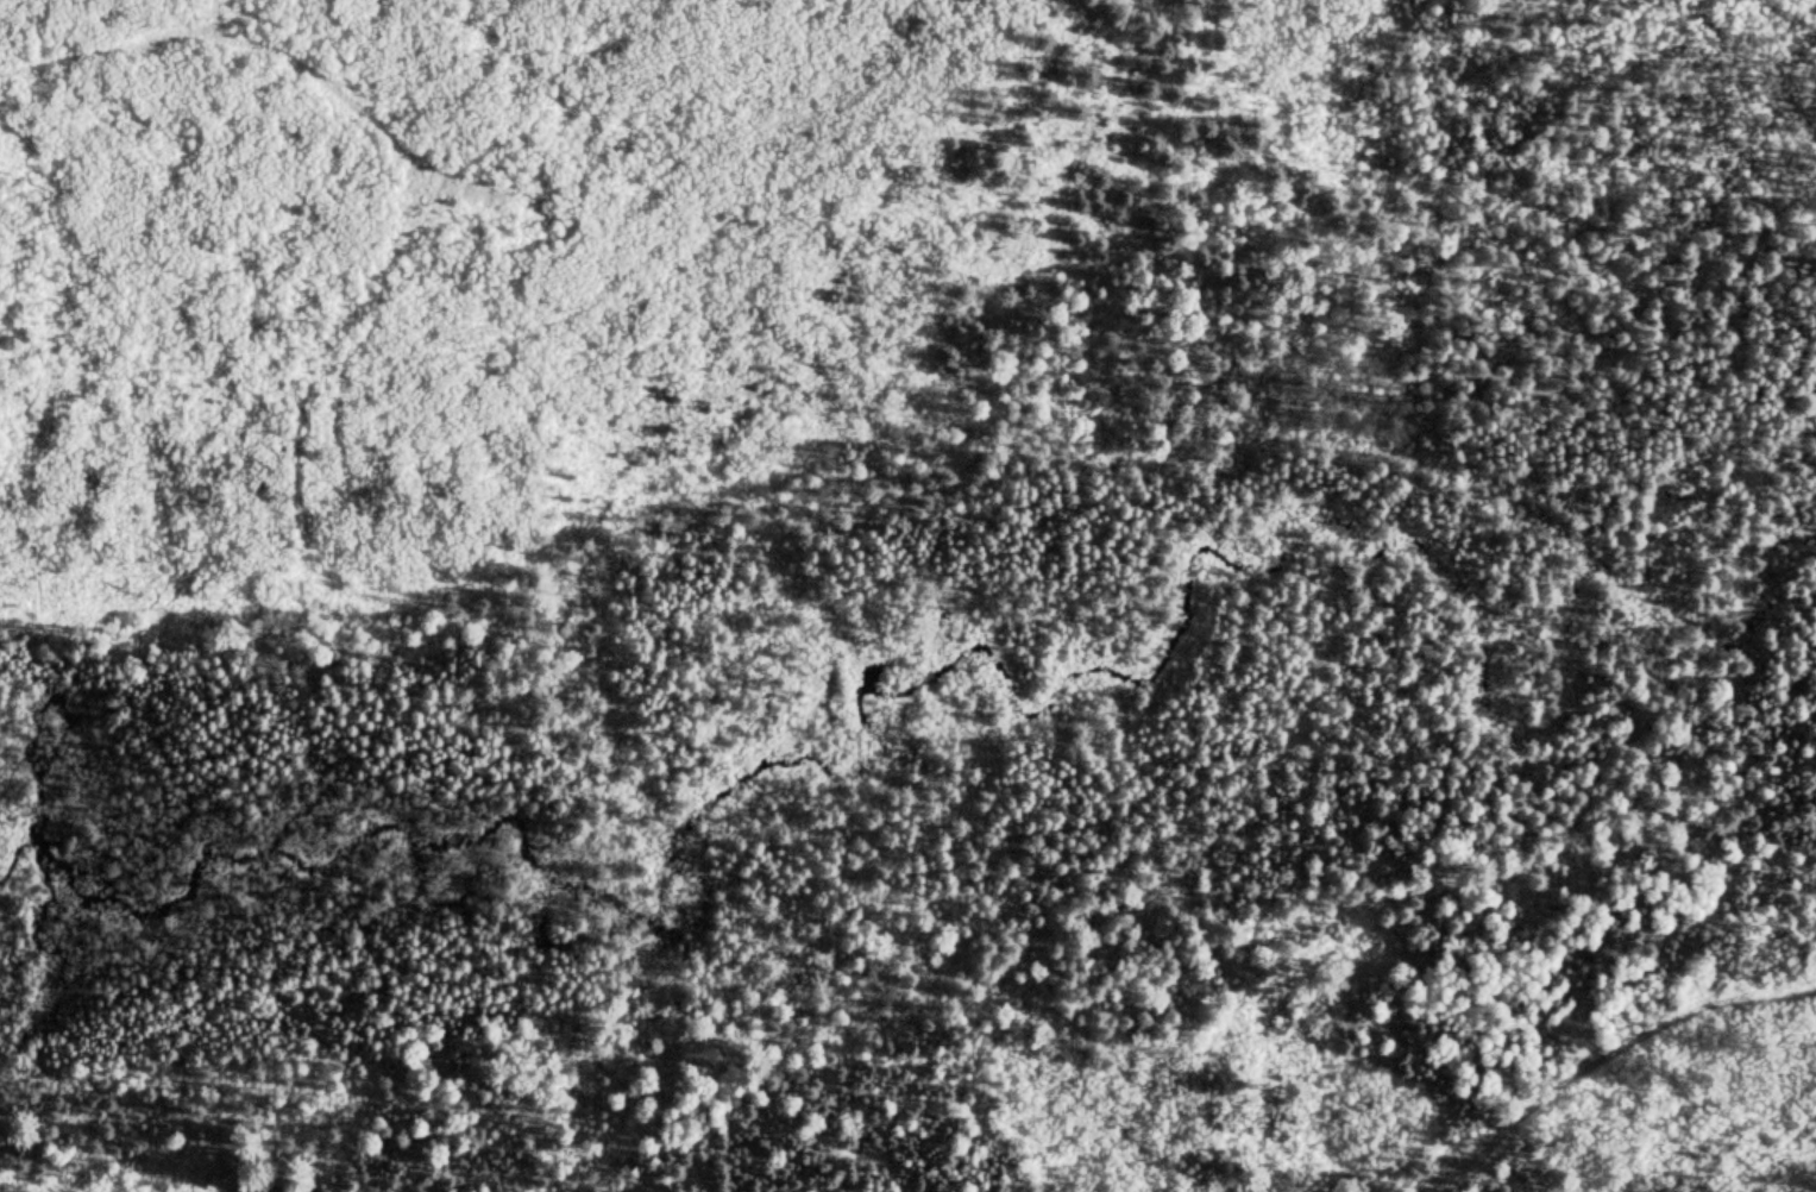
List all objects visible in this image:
road: (1603, 1054)

